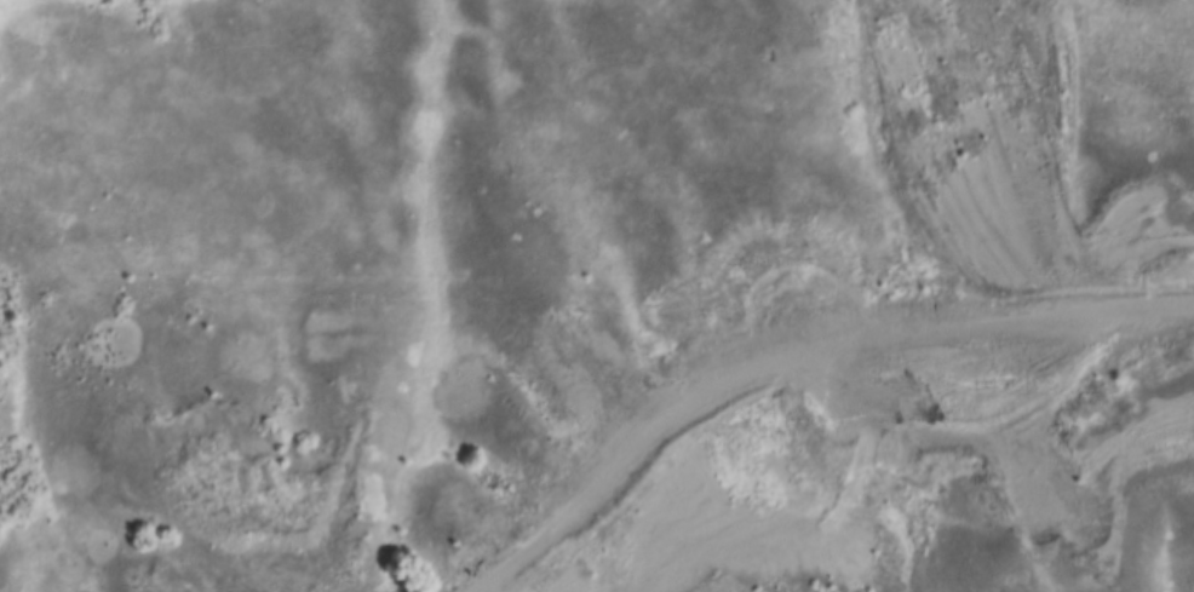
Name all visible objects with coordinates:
quarry: (737, 370)

